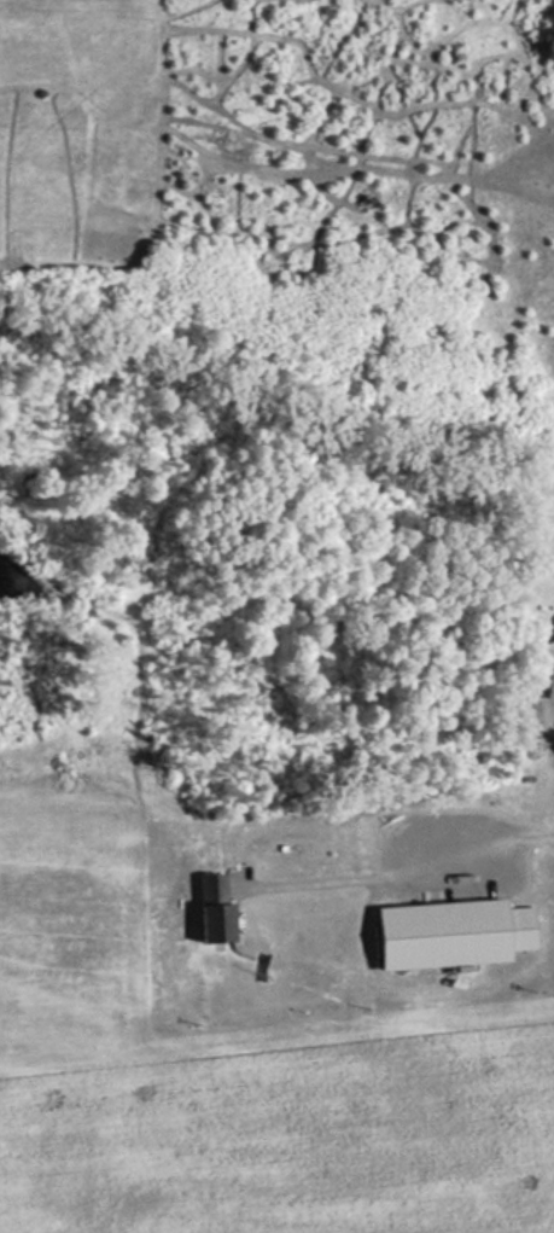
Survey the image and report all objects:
building: (221, 906)
building: (455, 932)

